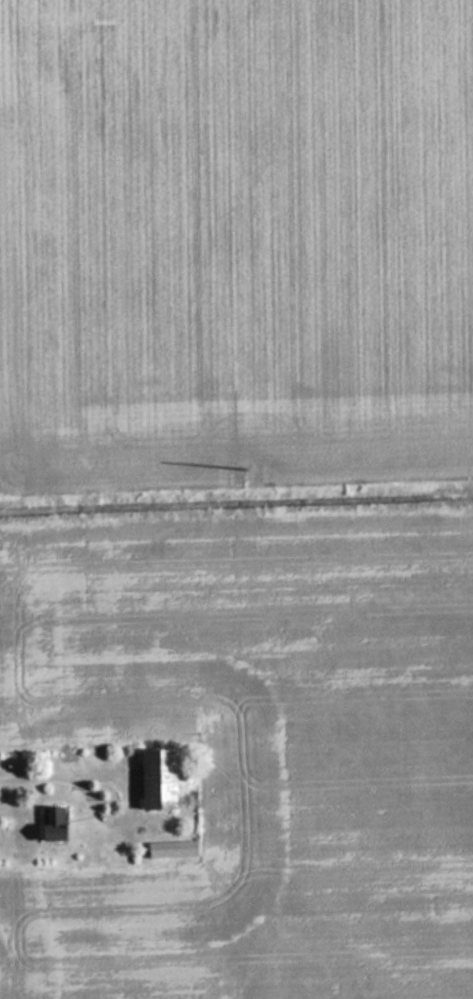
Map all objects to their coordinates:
building: (153, 778)
building: (49, 823)
building: (169, 850)

